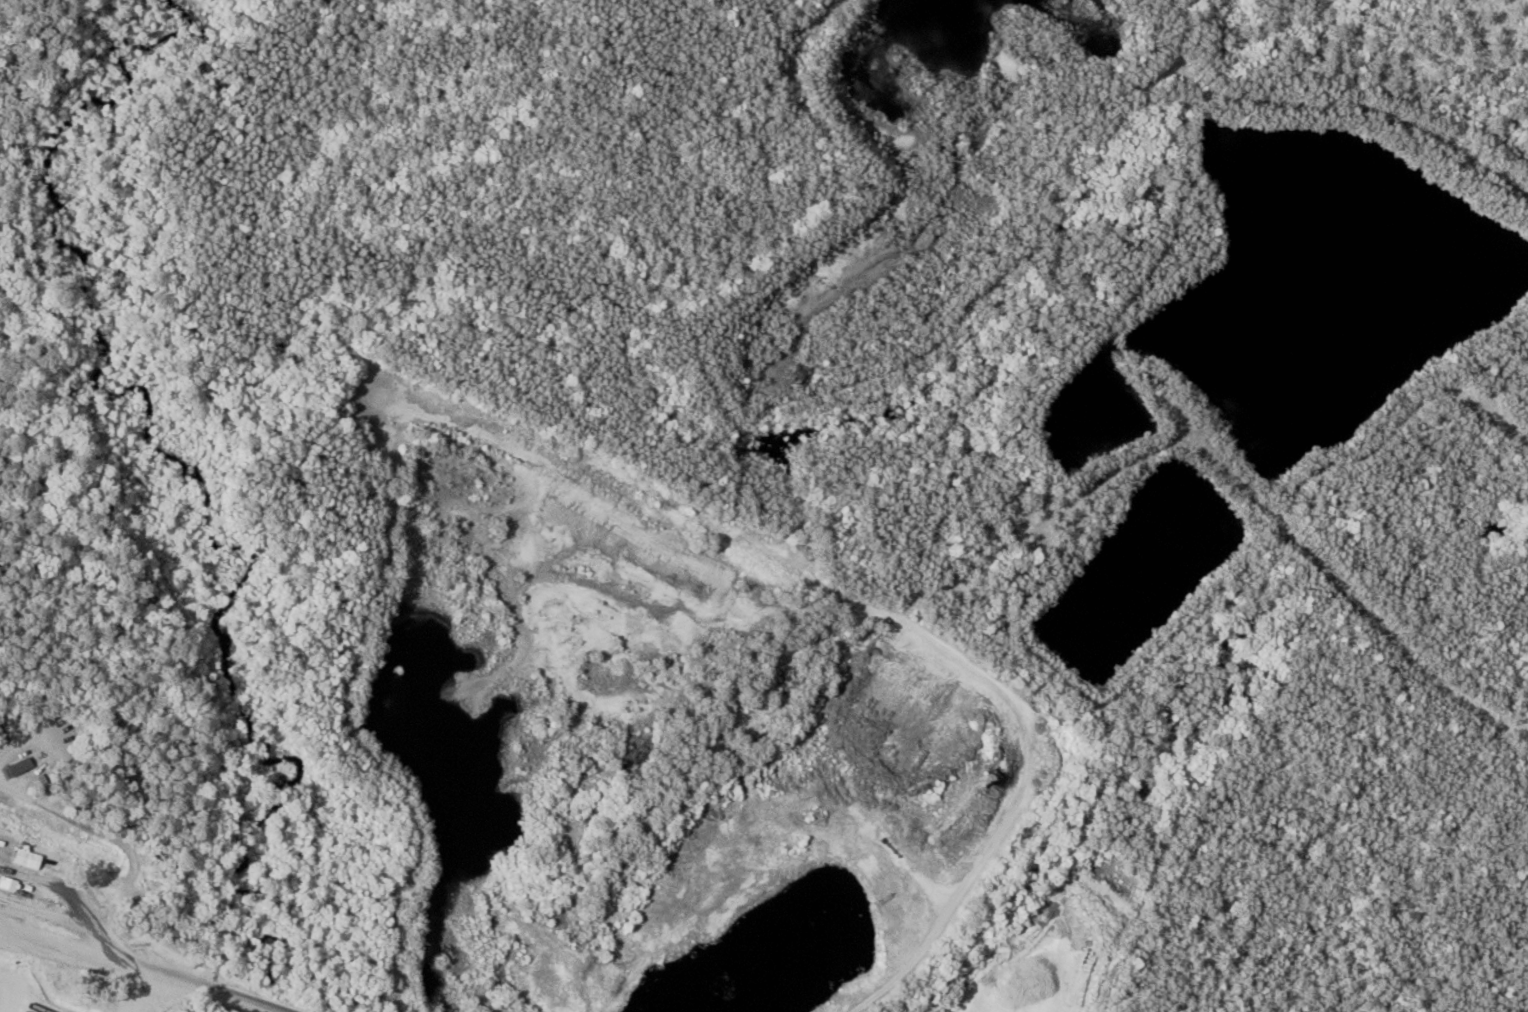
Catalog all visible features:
building: (733, 705)
building: (18, 767)
building: (7, 884)
road: (122, 954)

